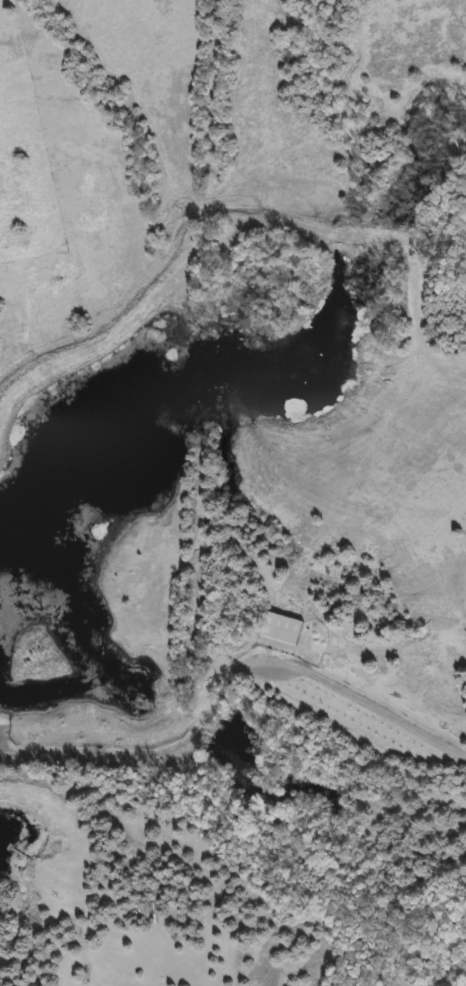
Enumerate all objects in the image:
road: (225, 683)

